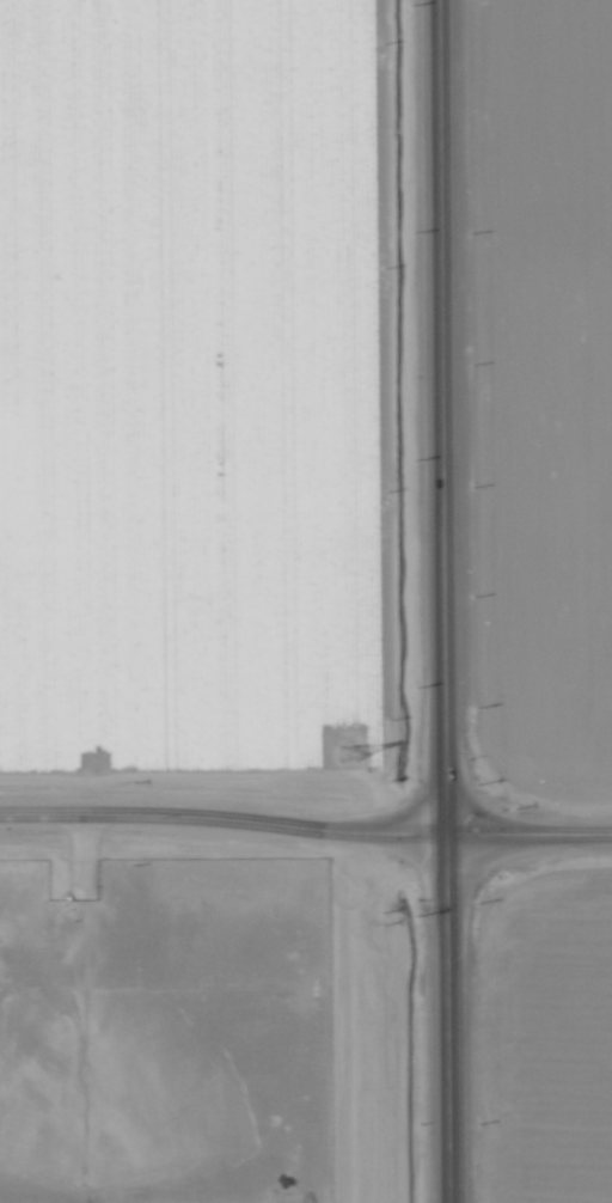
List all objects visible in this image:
crop: (200, 393)
crop: (541, 396)
road: (428, 601)
power tower: (342, 751)
road: (306, 818)
solar farm: (164, 1037)
crop: (534, 1037)

